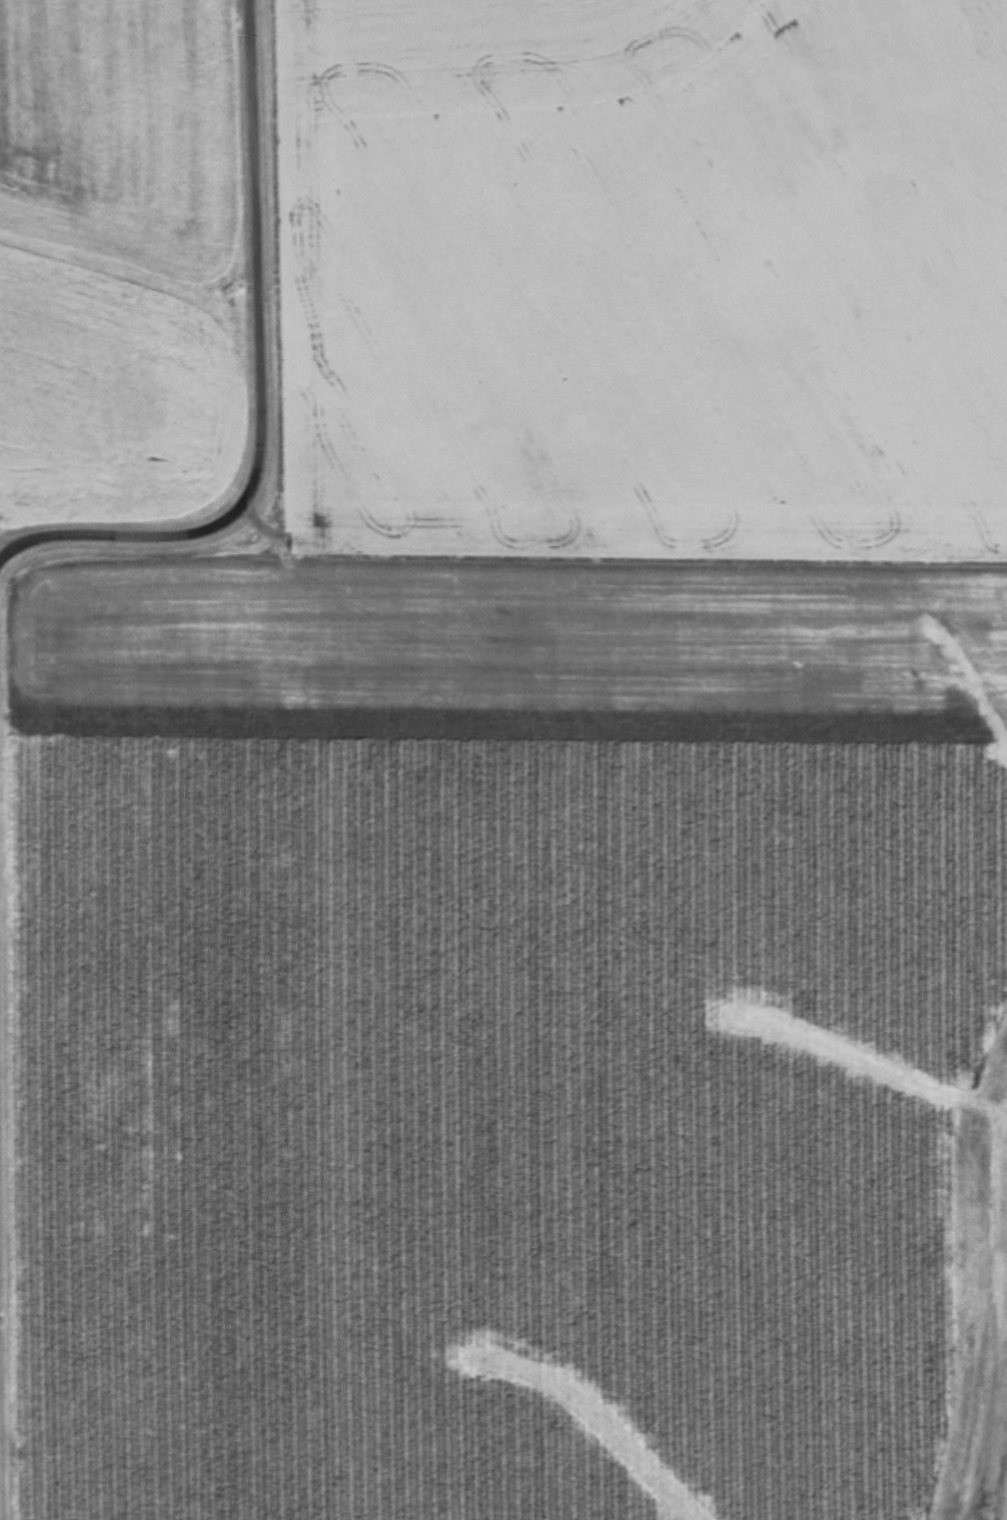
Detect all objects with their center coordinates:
road: (266, 391)
road: (4, 553)
road: (2, 1393)

